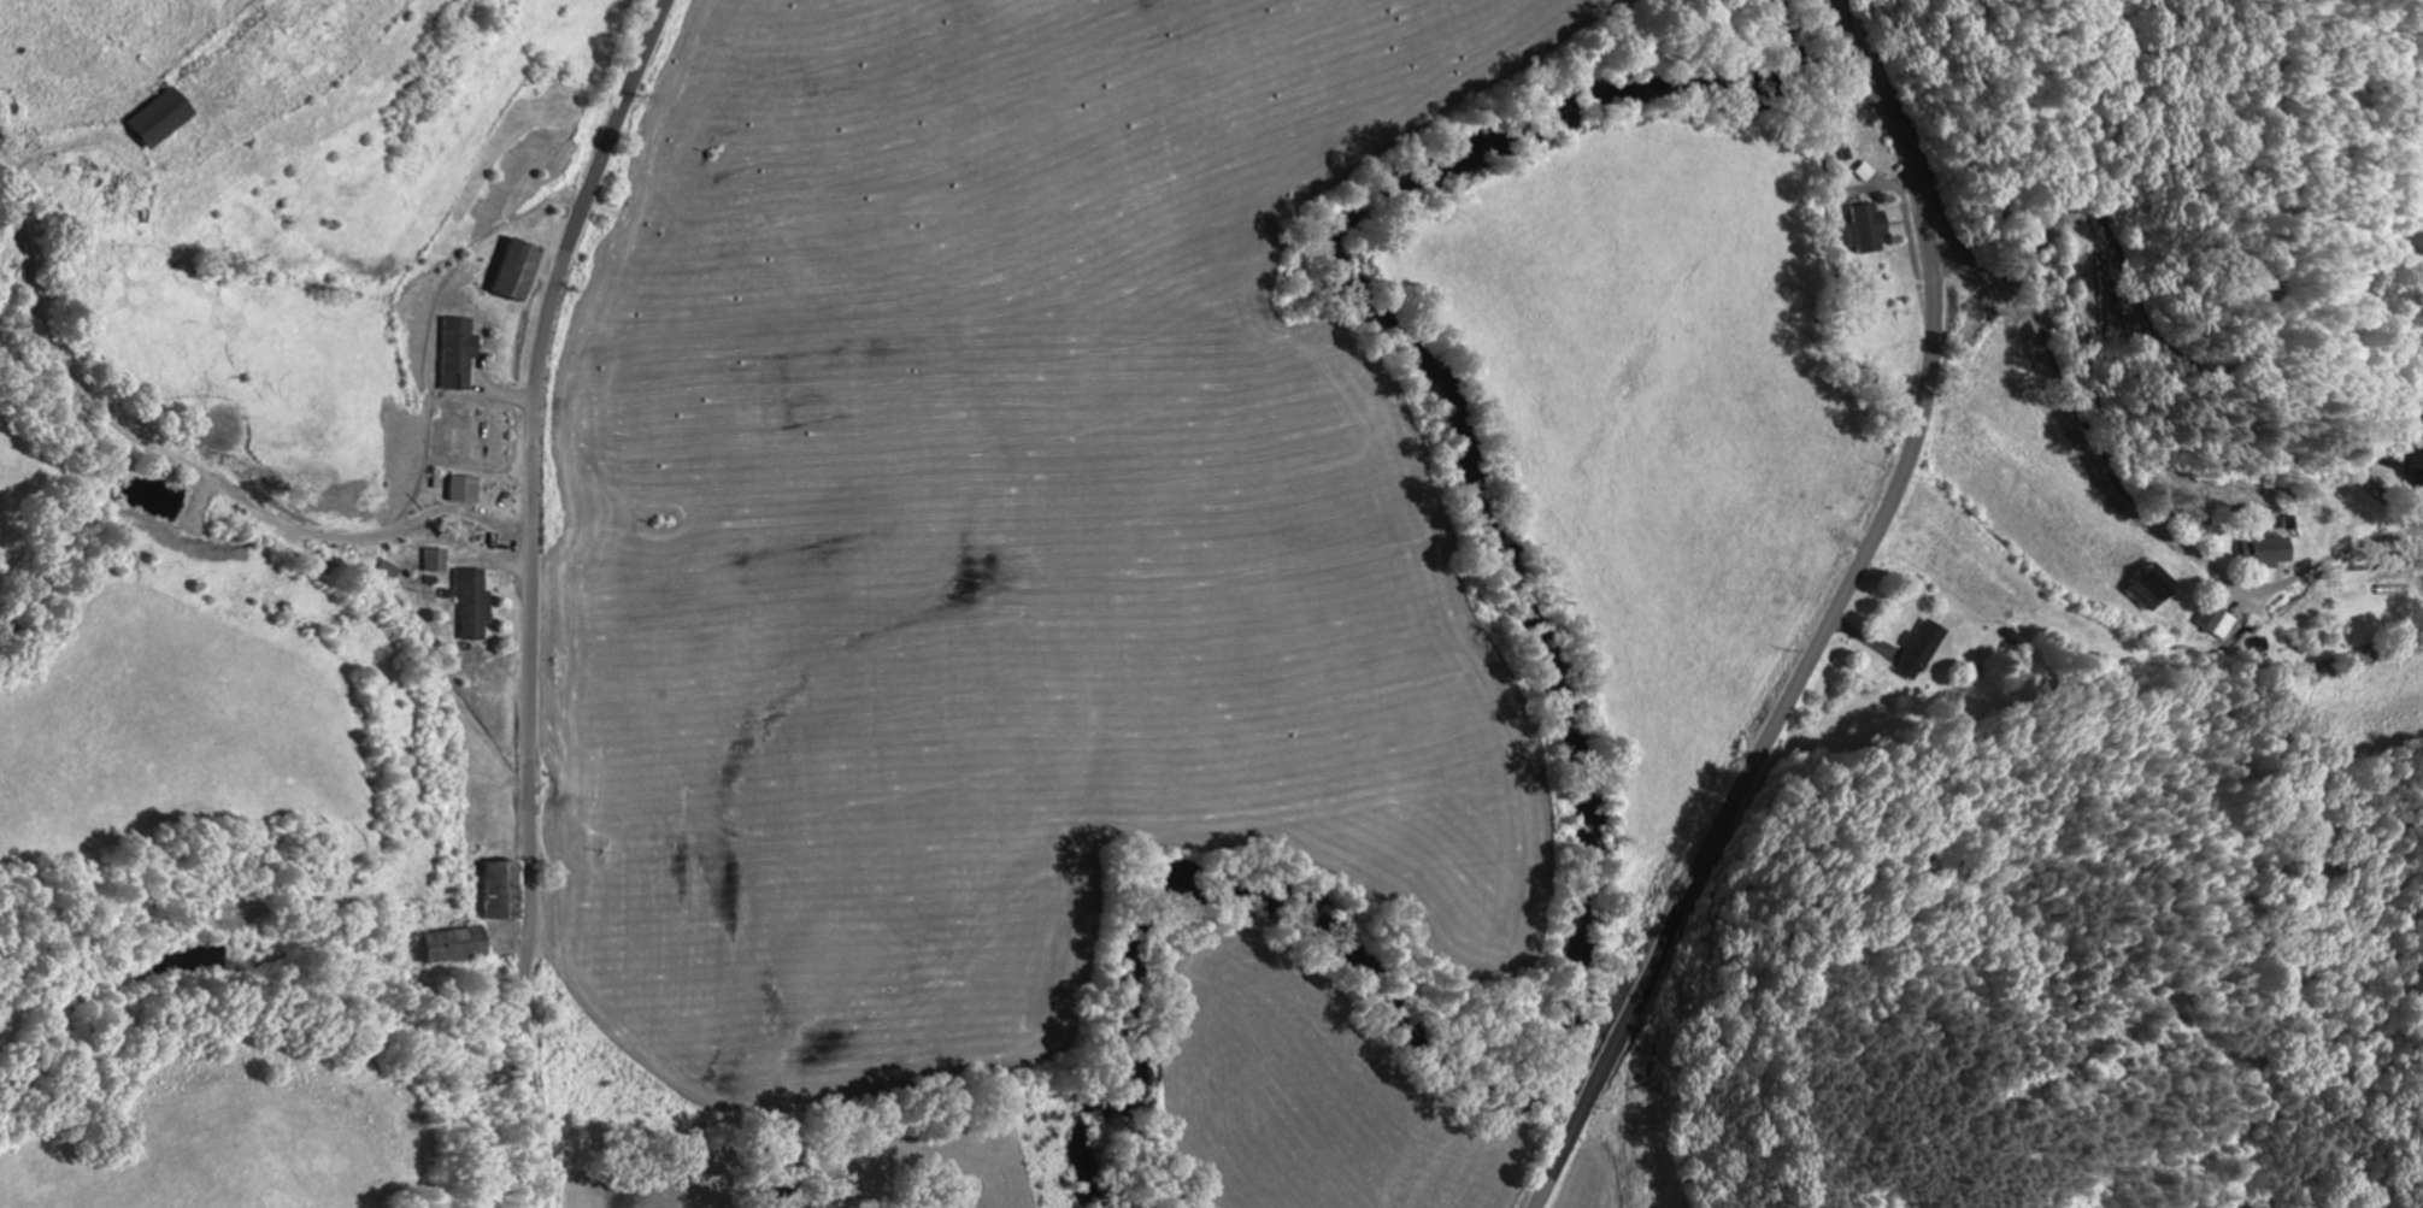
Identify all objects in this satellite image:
building: (158, 120)
building: (1865, 173)
building: (1868, 230)
building: (517, 271)
building: (1978, 329)
building: (458, 354)
building: (2416, 484)
building: (463, 491)
road: (2123, 495)
building: (2270, 553)
building: (2153, 589)
road: (531, 593)
building: (472, 606)
road: (1830, 617)
building: (2217, 623)
building: (1921, 652)
river: (1578, 721)
building: (499, 892)
building: (453, 947)

